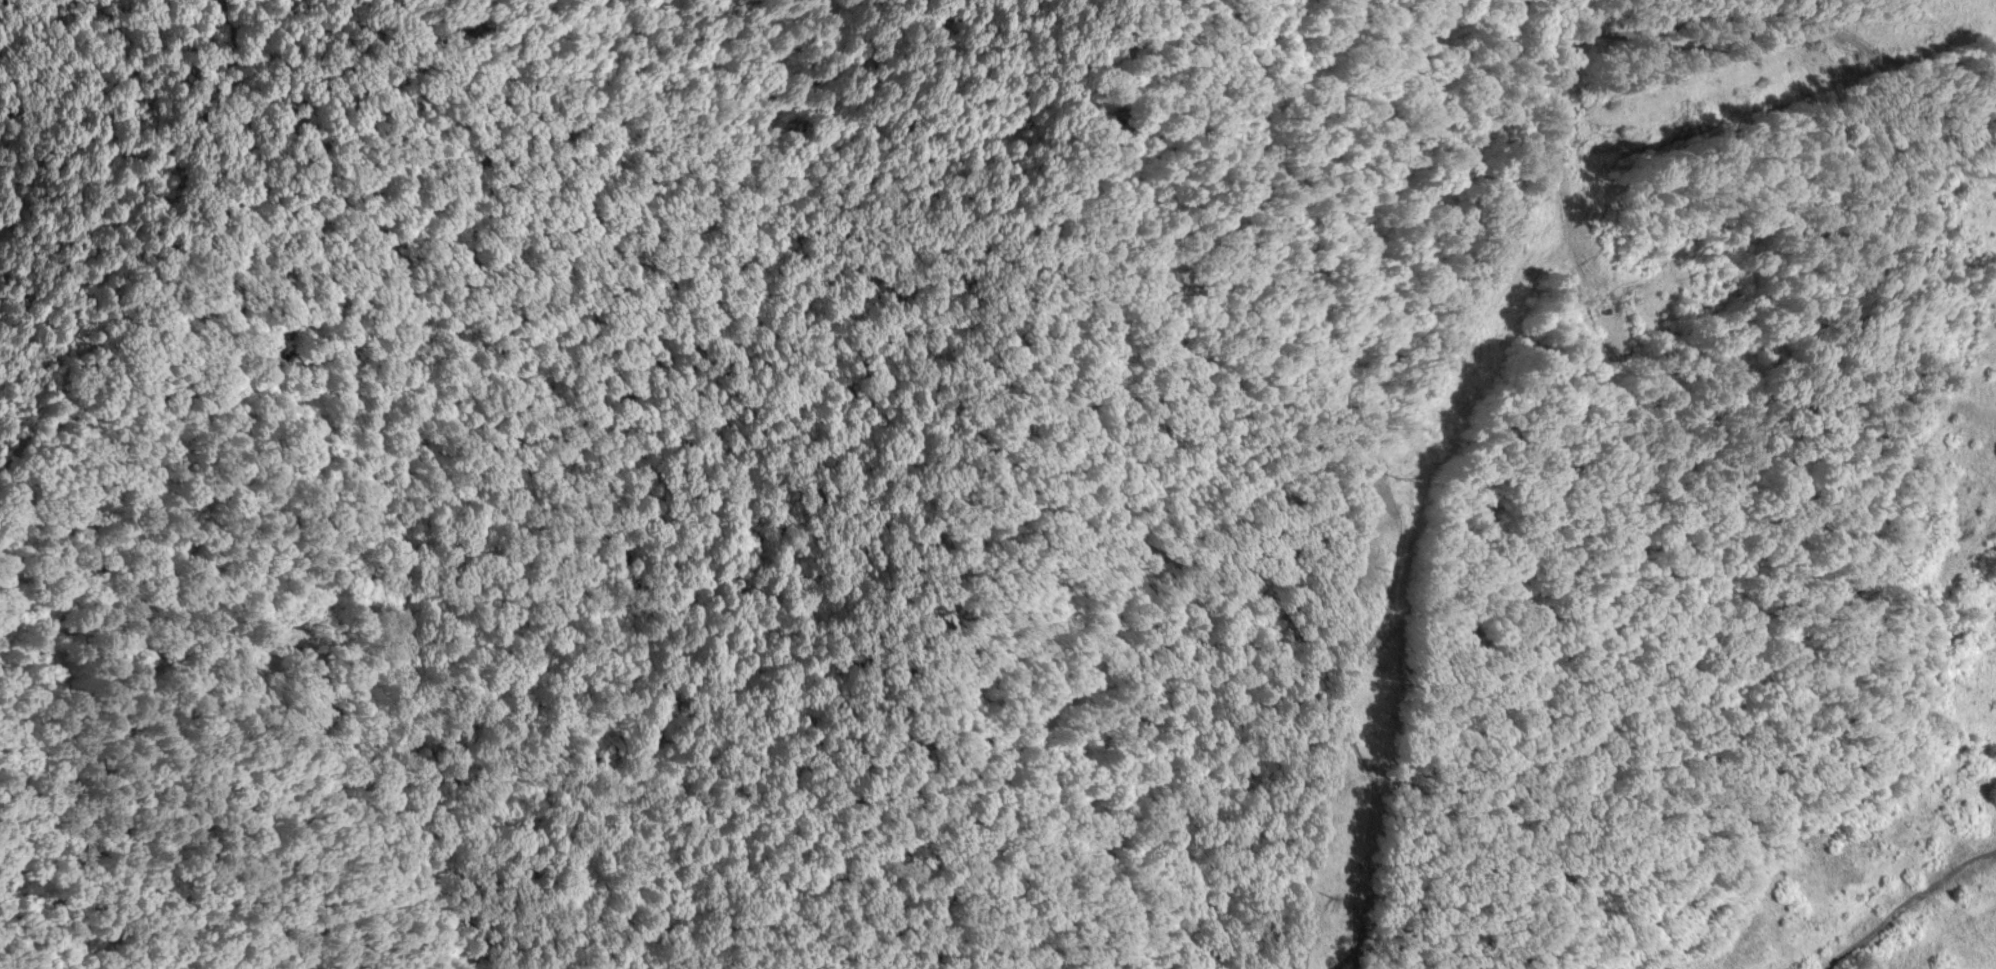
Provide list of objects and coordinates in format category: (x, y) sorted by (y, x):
road: (1977, 959)

